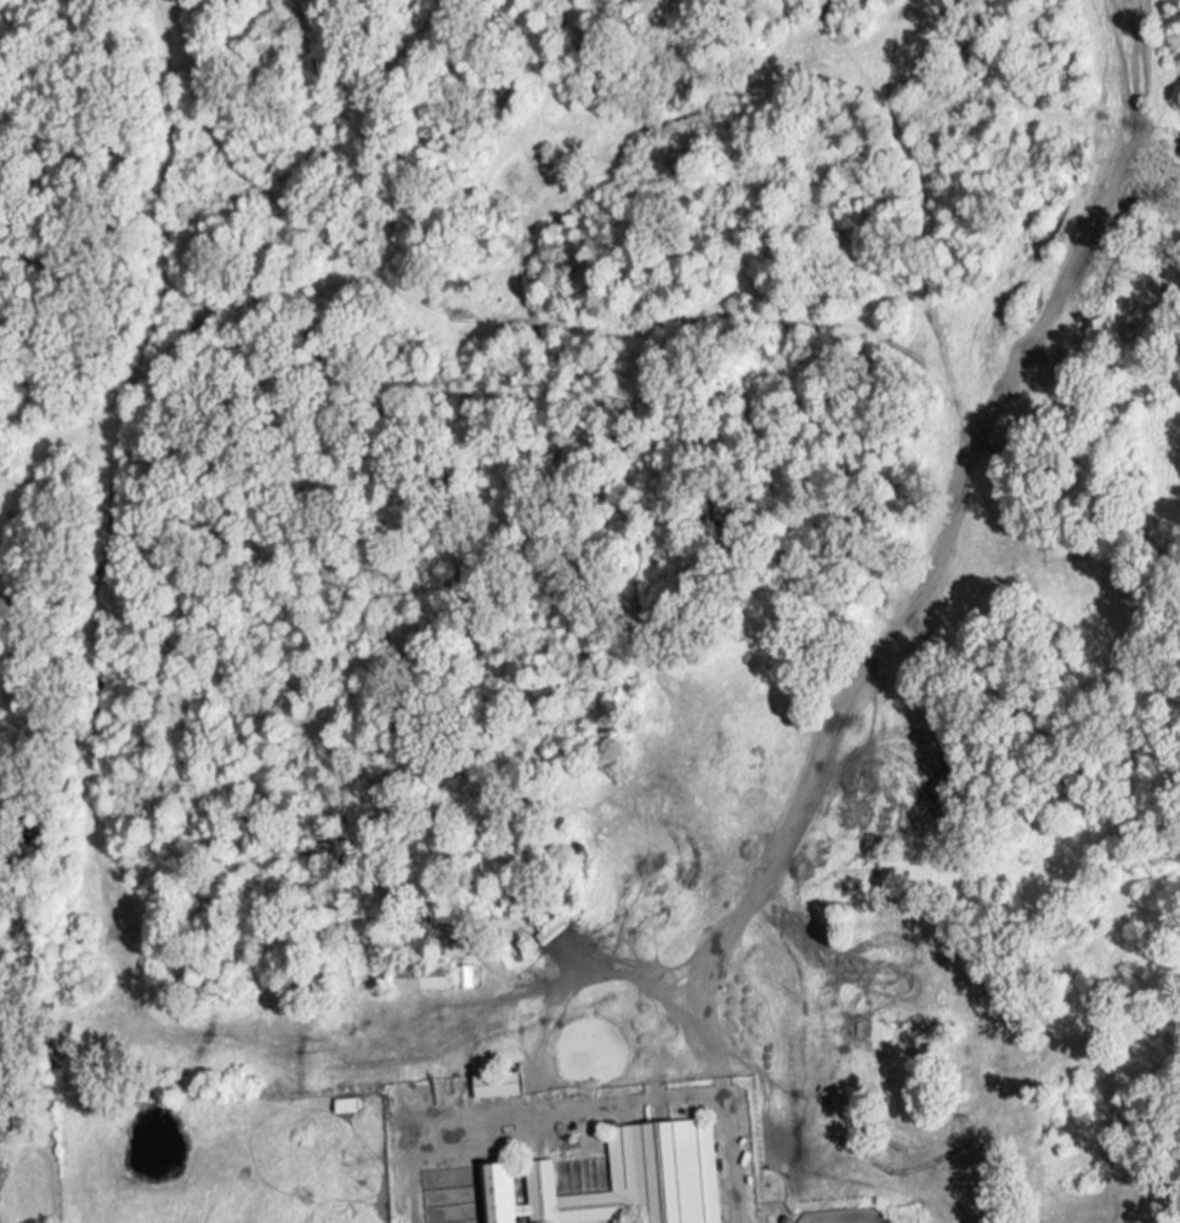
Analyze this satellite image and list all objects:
building: (492, 1075)
building: (341, 1095)
building: (617, 1174)

